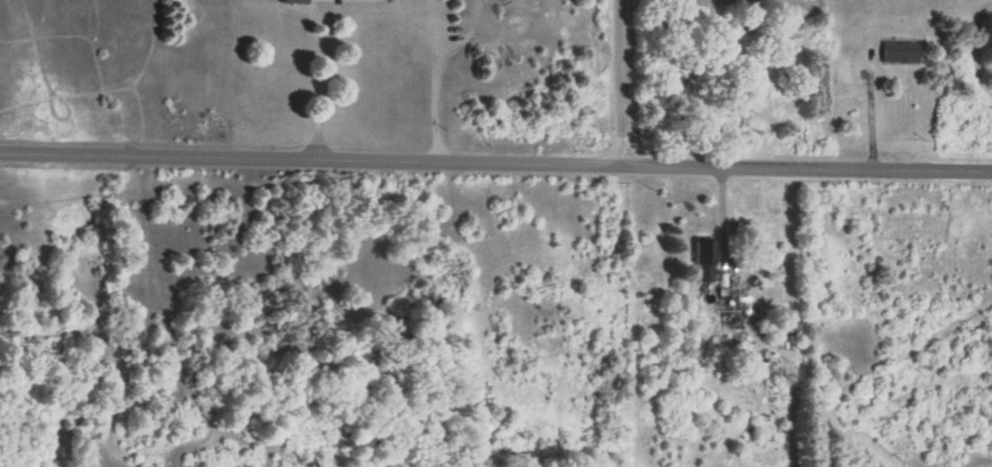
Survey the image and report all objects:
building: (295, 1)
building: (899, 52)
road: (618, 82)
road: (495, 161)
building: (704, 251)
building: (727, 305)
building: (787, 321)

